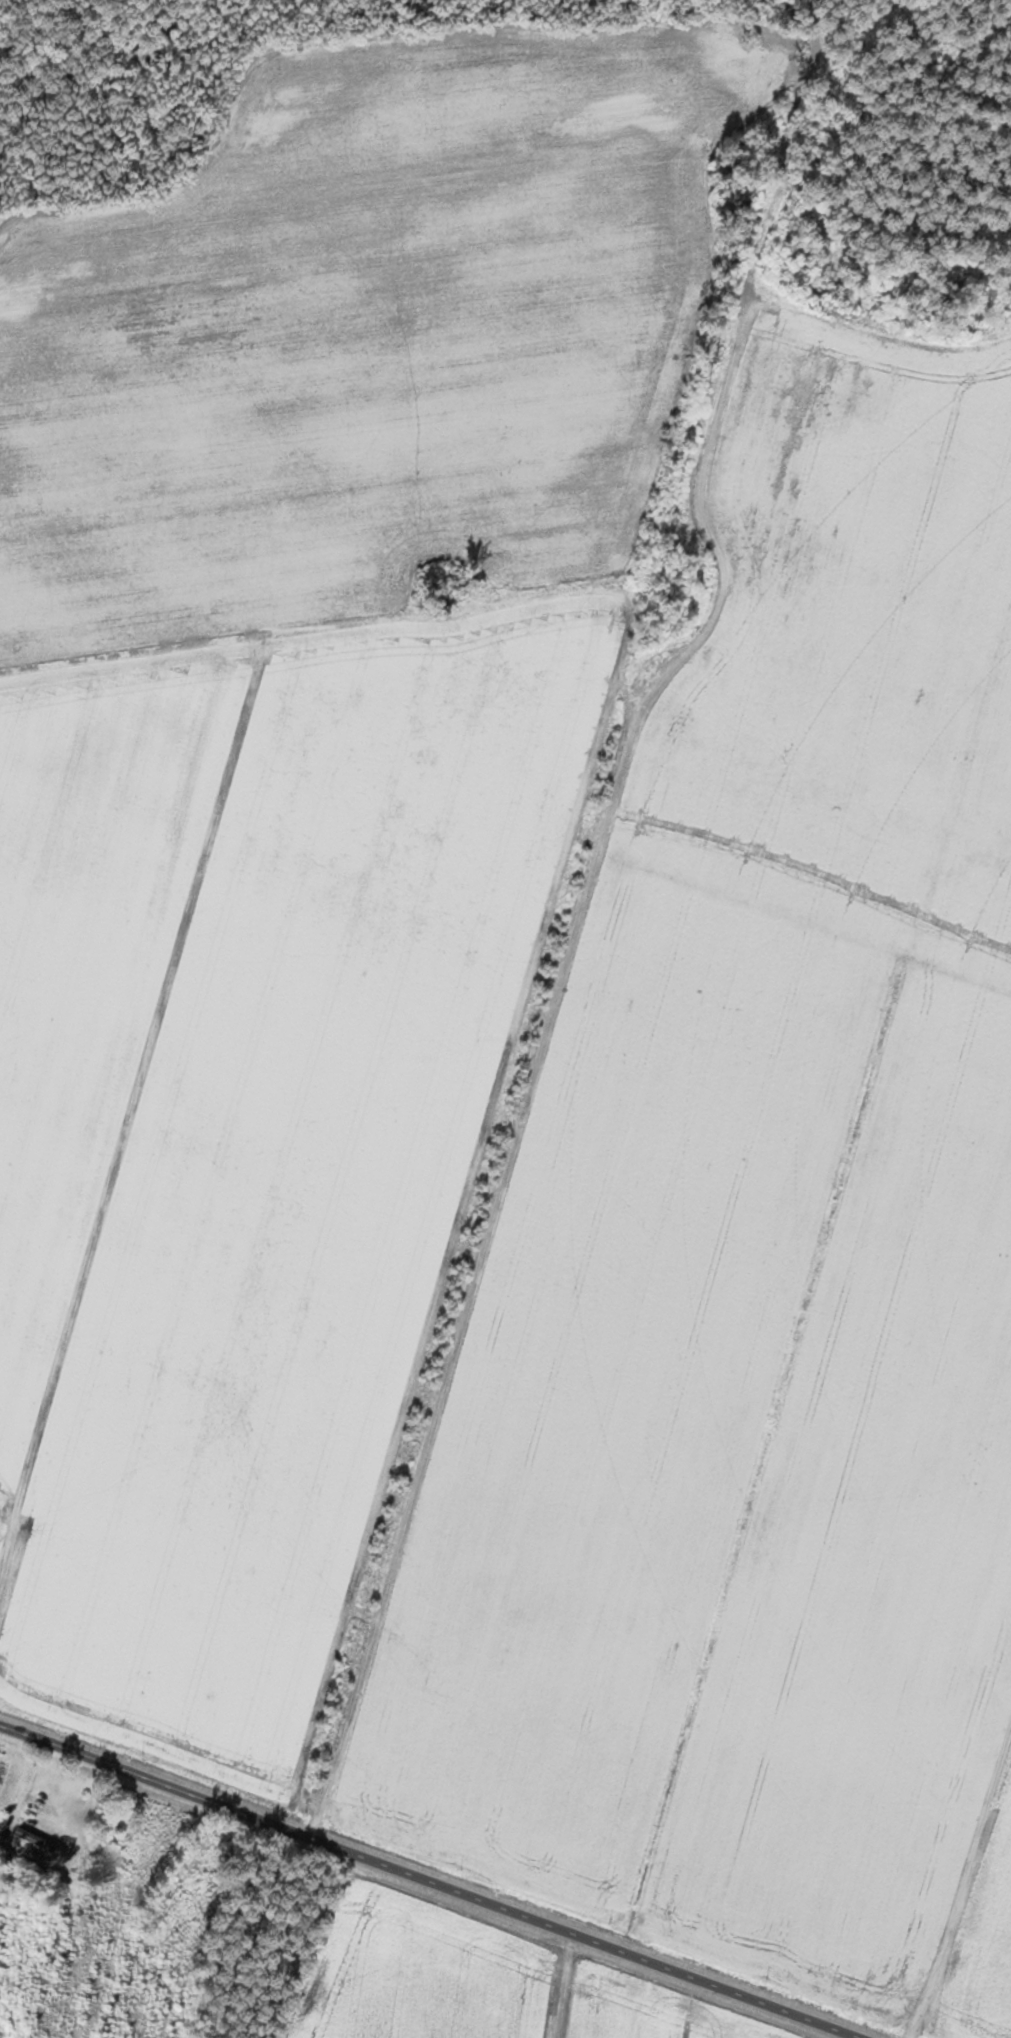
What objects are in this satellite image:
building: (39, 1838)
road: (425, 1882)

